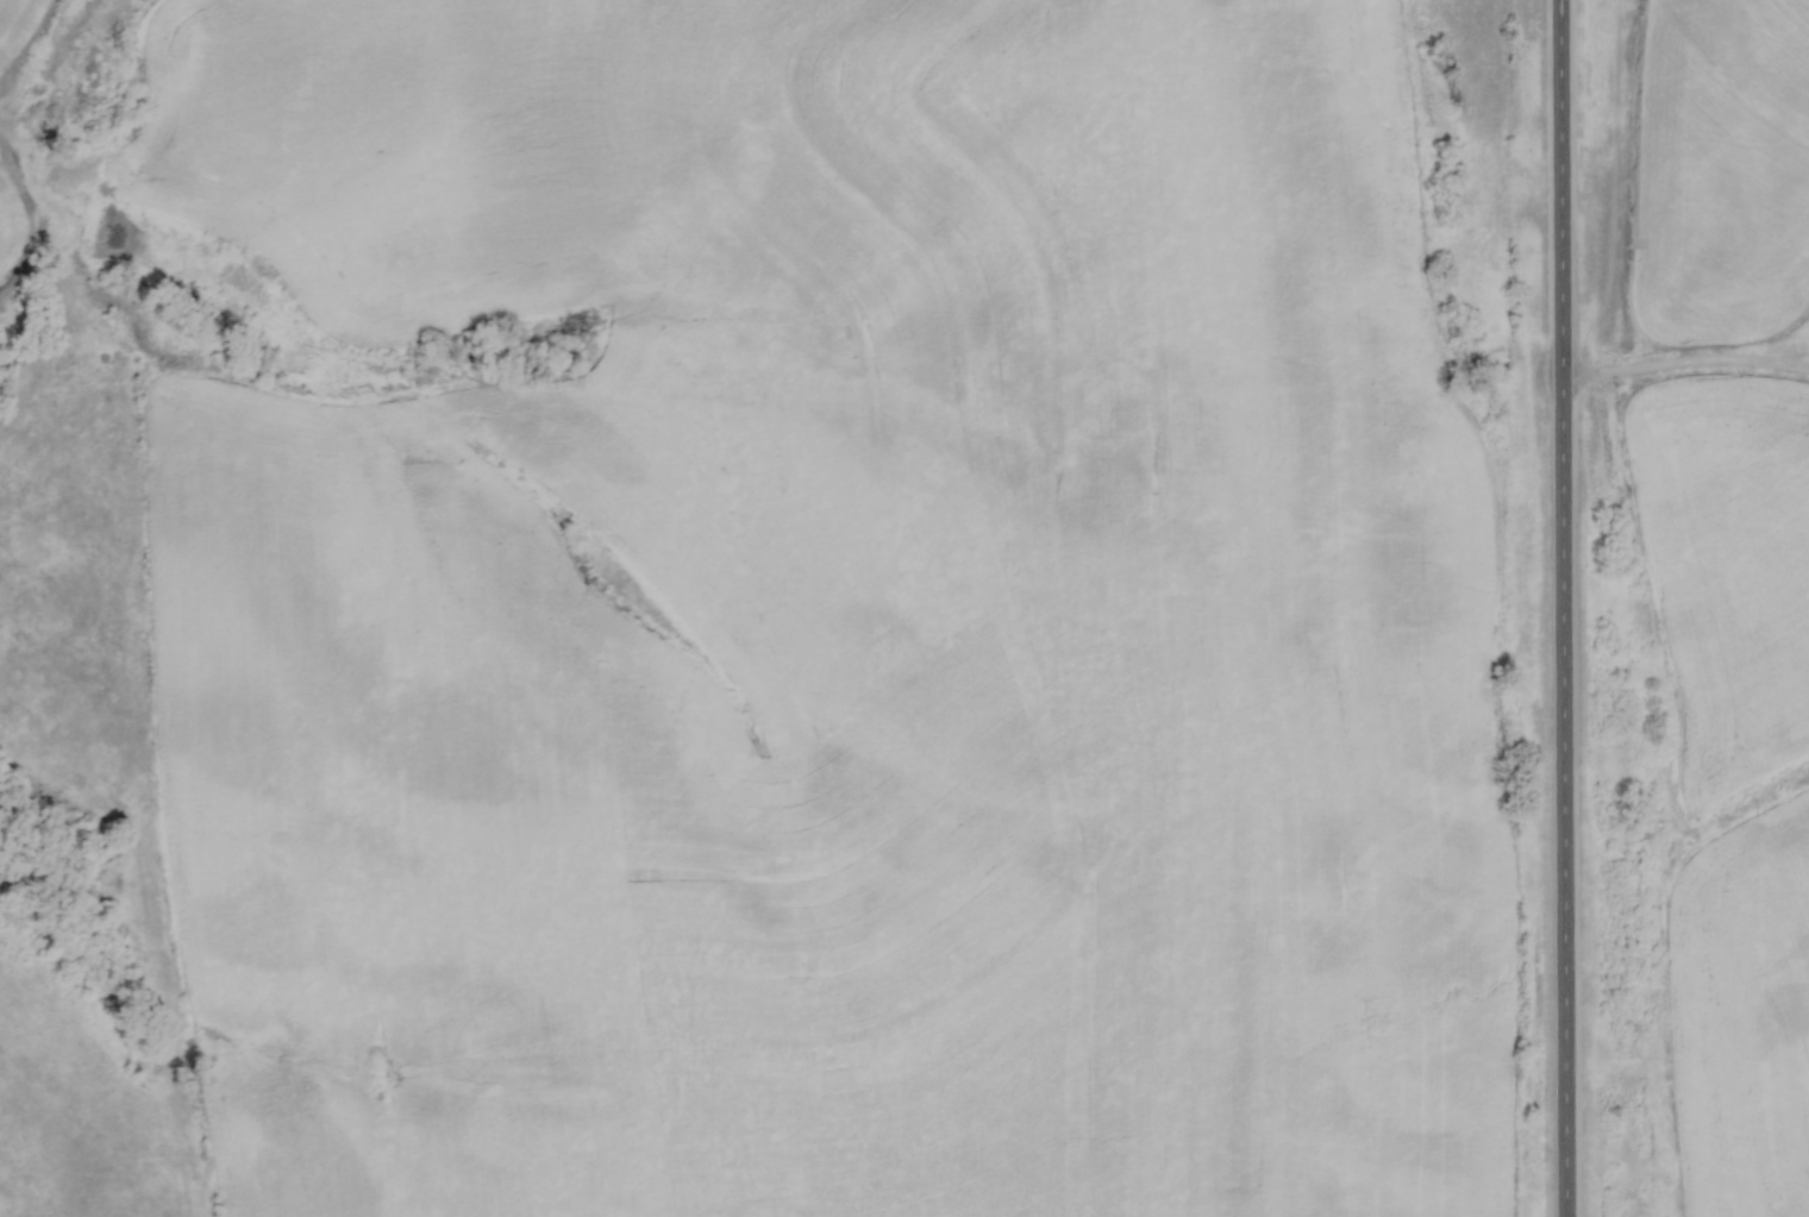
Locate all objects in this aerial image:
road: (1683, 366)
road: (1559, 608)

